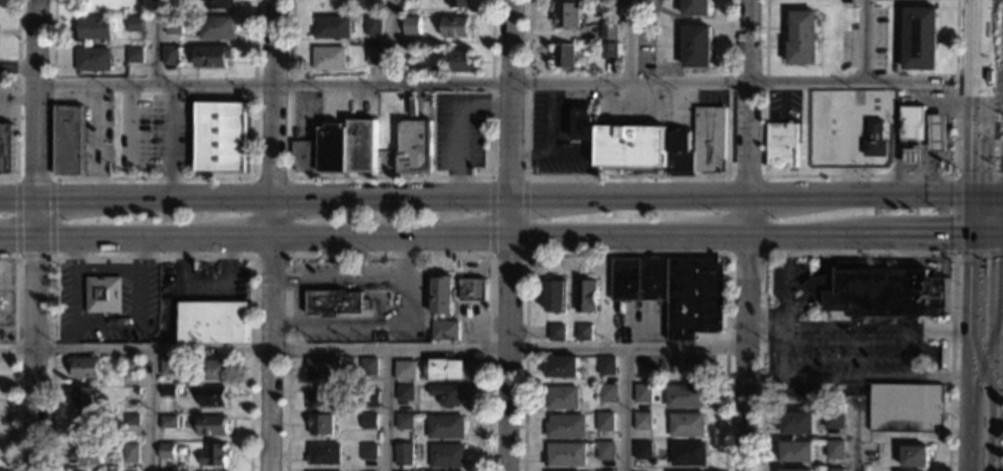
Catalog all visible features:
building: (460, 3)
building: (219, 4)
building: (174, 8)
building: (695, 8)
building: (566, 15)
building: (134, 23)
building: (372, 25)
building: (411, 25)
building: (173, 26)
building: (94, 27)
building: (332, 27)
building: (456, 27)
building: (216, 28)
building: (609, 31)
building: (802, 38)
building: (919, 38)
road: (390, 41)
road: (630, 41)
road: (157, 42)
road: (862, 42)
building: (697, 46)
building: (610, 51)
building: (405, 53)
building: (170, 54)
building: (135, 55)
building: (374, 55)
building: (563, 55)
building: (211, 57)
building: (329, 58)
building: (93, 59)
building: (460, 62)
road: (17, 70)
road: (504, 82)
road: (16, 97)
road: (973, 98)
road: (550, 118)
road: (35, 120)
building: (583, 122)
building: (911, 123)
road: (458, 126)
parking lot: (459, 130)
building: (937, 133)
parking lot: (556, 135)
building: (220, 137)
building: (874, 139)
building: (68, 140)
road: (126, 140)
road: (172, 141)
building: (781, 144)
building: (415, 146)
building: (666, 146)
building: (6, 147)
building: (348, 147)
road: (549, 154)
building: (304, 156)
building: (911, 157)
road: (507, 176)
road: (859, 176)
road: (388, 177)
road: (627, 177)
road: (152, 178)
road: (486, 198)
traffic signals: (973, 198)
road: (988, 198)
road: (490, 215)
road: (526, 216)
road: (952, 216)
road: (972, 216)
road: (987, 234)
road: (271, 235)
road: (508, 235)
road: (746, 235)
road: (915, 235)
traffic signals: (971, 235)
road: (446, 237)
road: (17, 240)
road: (764, 253)
road: (16, 254)
road: (626, 254)
road: (289, 255)
road: (508, 255)
road: (857, 255)
road: (151, 256)
road: (390, 256)
road: (400, 260)
road: (816, 281)
road: (784, 282)
building: (815, 285)
building: (473, 290)
building: (675, 291)
building: (883, 292)
building: (102, 295)
building: (442, 295)
building: (555, 296)
building: (585, 296)
road: (1001, 298)
road: (403, 300)
building: (334, 302)
building: (214, 322)
road: (757, 328)
road: (869, 329)
building: (445, 330)
building: (583, 332)
building: (556, 333)
road: (851, 342)
parking lot: (834, 343)
road: (985, 345)
road: (372, 351)
road: (968, 352)
road: (769, 353)
road: (13, 354)
road: (32, 355)
building: (132, 365)
building: (368, 366)
building: (606, 366)
building: (167, 367)
building: (562, 367)
building: (85, 368)
building: (322, 368)
building: (446, 369)
building: (213, 370)
building: (404, 370)
road: (855, 377)
building: (137, 391)
building: (168, 392)
building: (405, 393)
building: (607, 393)
building: (642, 393)
building: (446, 394)
building: (684, 396)
building: (84, 397)
building: (212, 397)
building: (369, 397)
building: (562, 398)
building: (327, 399)
road: (997, 406)
building: (906, 408)
road: (152, 410)
road: (623, 410)
road: (385, 411)
building: (834, 419)
building: (130, 420)
building: (369, 421)
building: (404, 421)
building: (642, 421)
building: (168, 422)
building: (605, 422)
building: (797, 422)
building: (212, 425)
building: (322, 425)
building: (686, 425)
building: (86, 426)
building: (566, 426)
building: (445, 427)
road: (857, 436)
building: (835, 449)
building: (368, 451)
building: (605, 451)
building: (642, 451)
building: (167, 452)
building: (796, 452)
building: (687, 453)
building: (130, 454)
building: (324, 454)
building: (404, 454)
building: (565, 454)
building: (87, 455)
building: (215, 455)
building: (448, 456)
building: (915, 456)
building: (611, 470)
building: (796, 470)
building: (836, 470)

